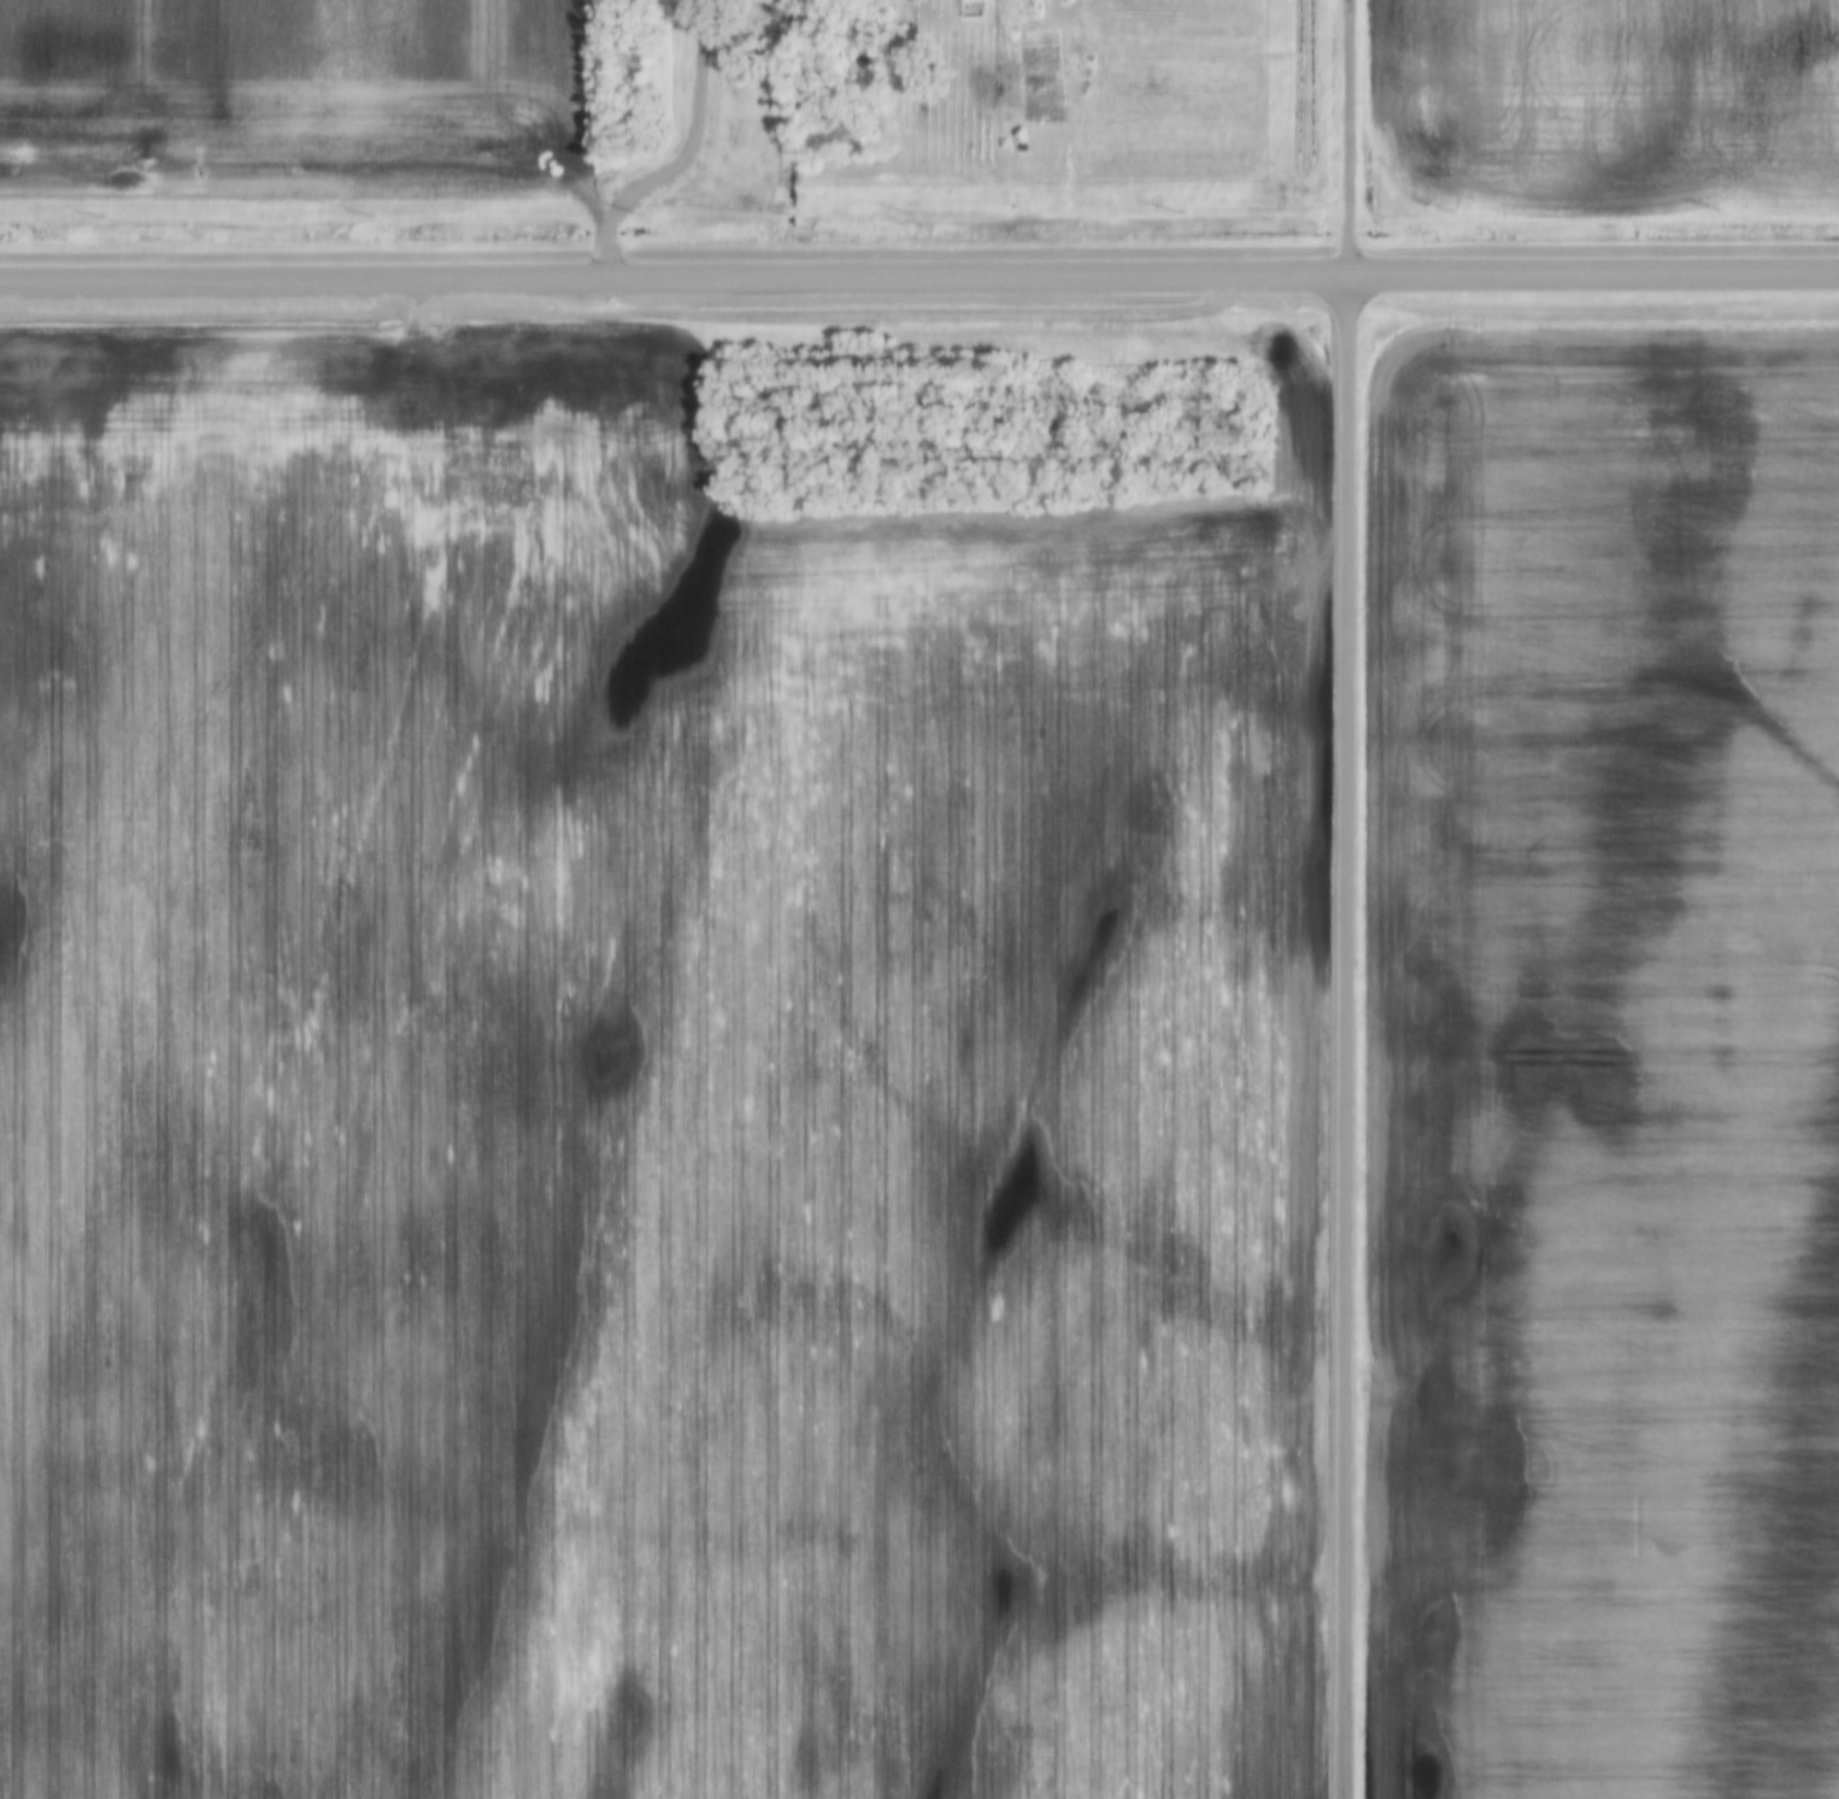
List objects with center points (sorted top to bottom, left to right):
road: (1356, 142)
road: (680, 160)
road: (919, 284)
road: (1353, 1041)

